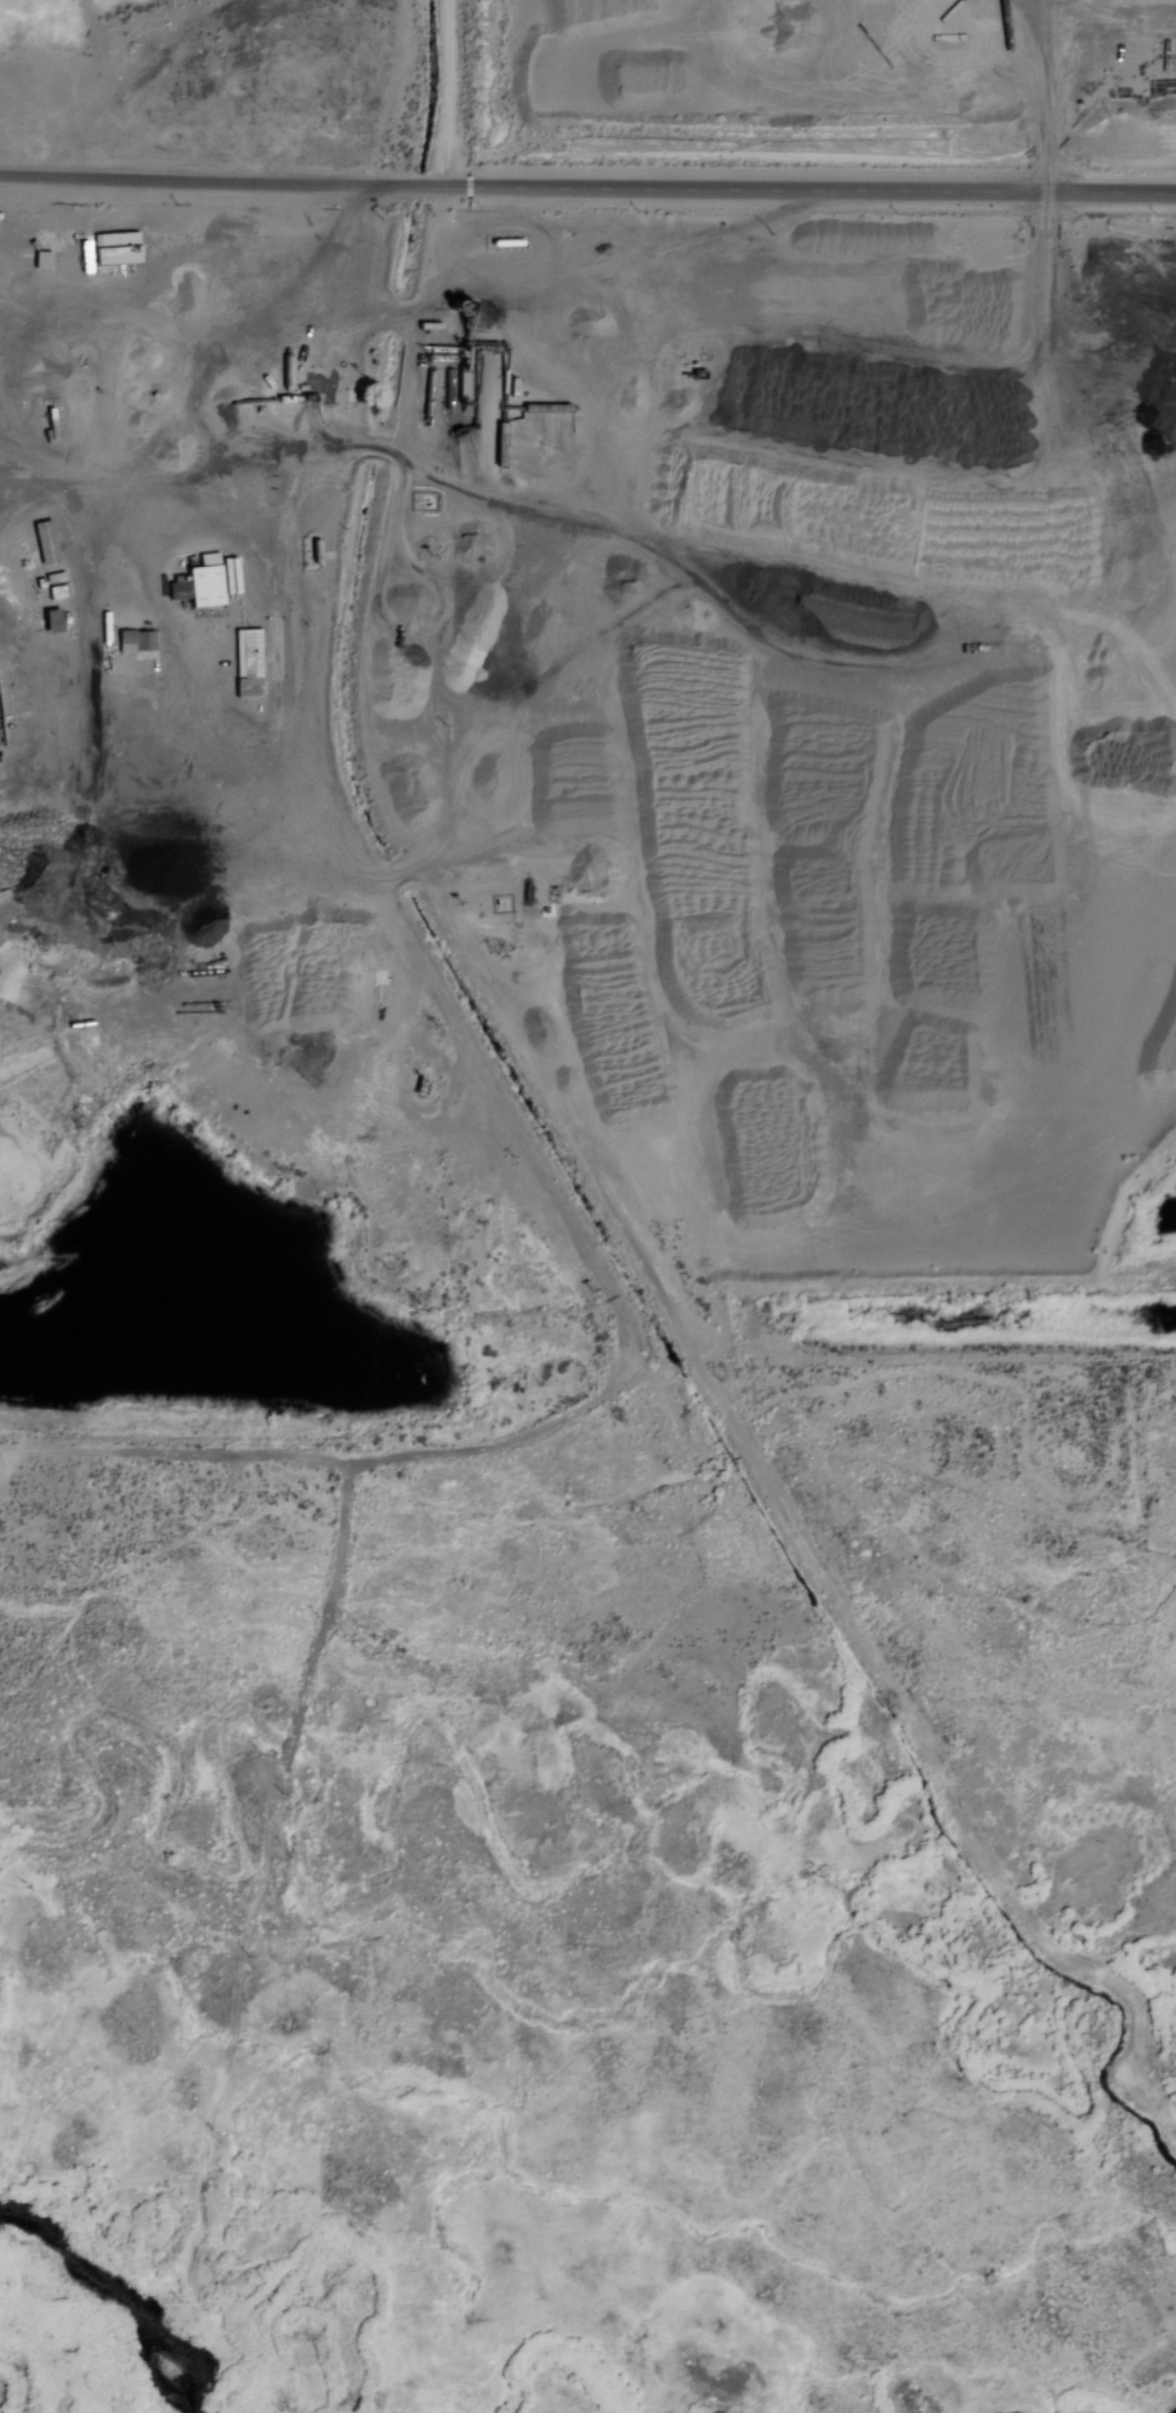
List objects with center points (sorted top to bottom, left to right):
road: (443, 91)
road: (587, 184)
building: (118, 249)
building: (46, 541)
building: (136, 641)
building: (248, 659)
river: (98, 2306)
river: (169, 2412)

